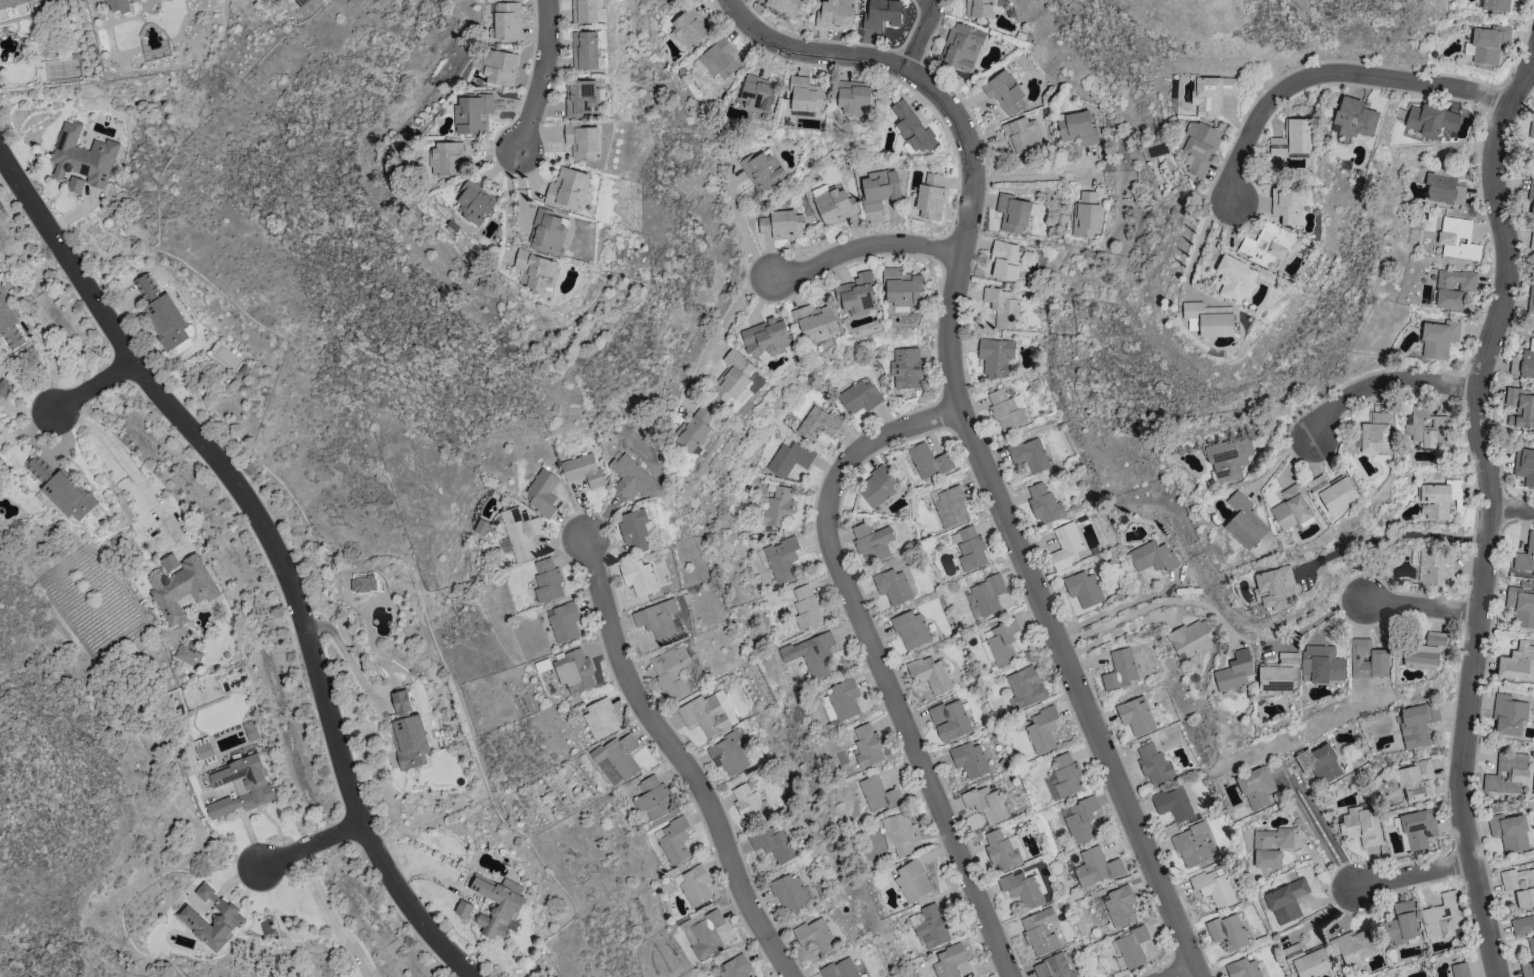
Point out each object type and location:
building: (662, 0)
building: (784, 5)
building: (1495, 5)
building: (120, 6)
building: (13, 8)
building: (977, 8)
building: (585, 11)
building: (834, 14)
building: (882, 14)
building: (508, 21)
building: (688, 28)
road: (919, 32)
building: (1489, 44)
building: (961, 46)
building: (585, 50)
building: (718, 59)
building: (501, 67)
road: (1332, 70)
road: (545, 75)
building: (757, 92)
building: (1004, 92)
building: (1211, 93)
building: (805, 94)
building: (853, 96)
building: (580, 97)
building: (474, 113)
building: (1354, 118)
building: (1429, 119)
building: (1076, 127)
building: (912, 128)
building: (1531, 129)
building: (1020, 135)
building: (582, 140)
building: (1291, 142)
building: (1200, 146)
building: (82, 156)
building: (448, 158)
building: (761, 170)
road: (1035, 171)
road: (20, 184)
building: (75, 184)
building: (568, 188)
building: (878, 189)
building: (1444, 189)
road: (510, 193)
building: (930, 197)
building: (1530, 198)
building: (476, 203)
building: (1288, 204)
building: (834, 205)
building: (1012, 212)
building: (1085, 215)
building: (782, 224)
road: (743, 229)
building: (549, 232)
building: (1457, 238)
building: (1532, 240)
road: (1200, 241)
building: (1267, 244)
road: (868, 245)
building: (1005, 260)
building: (537, 271)
road: (1506, 274)
building: (1234, 278)
building: (1453, 287)
building: (902, 288)
building: (857, 295)
building: (1531, 300)
building: (1002, 307)
building: (162, 314)
building: (1210, 318)
building: (9, 323)
building: (816, 323)
building: (1193, 324)
road: (718, 329)
building: (766, 337)
building: (1438, 338)
building: (995, 357)
building: (1524, 361)
building: (906, 368)
building: (732, 377)
road: (1383, 381)
road: (89, 385)
building: (5, 390)
building: (858, 397)
building: (1521, 406)
building: (1006, 409)
building: (817, 423)
building: (696, 427)
building: (1428, 428)
road: (973, 430)
building: (1375, 434)
building: (1029, 455)
building: (790, 458)
building: (1228, 459)
building: (928, 461)
building: (1524, 465)
road: (128, 466)
building: (582, 469)
building: (630, 477)
building: (877, 487)
building: (63, 490)
building: (1332, 491)
building: (543, 492)
building: (43, 499)
building: (1434, 501)
building: (1044, 504)
building: (950, 506)
building: (1291, 507)
building: (777, 508)
road: (1512, 509)
building: (1244, 521)
building: (635, 528)
building: (521, 532)
road: (1391, 536)
building: (872, 542)
building: (1066, 546)
building: (969, 548)
building: (1152, 556)
building: (1525, 556)
building: (781, 559)
building: (169, 562)
building: (1435, 566)
building: (639, 578)
building: (548, 581)
road: (287, 583)
building: (363, 584)
building: (893, 586)
building: (1272, 587)
building: (182, 588)
building: (1084, 589)
building: (987, 594)
road: (1151, 605)
road: (1423, 606)
building: (806, 607)
building: (1521, 607)
road: (1117, 608)
building: (658, 620)
building: (564, 621)
building: (910, 629)
road: (1113, 632)
building: (1190, 637)
building: (999, 642)
building: (1425, 651)
building: (188, 655)
building: (818, 656)
road: (347, 657)
building: (1367, 659)
road: (880, 660)
building: (1518, 663)
building: (1321, 664)
building: (1120, 669)
building: (574, 671)
building: (673, 671)
building: (1234, 671)
building: (930, 673)
building: (1279, 673)
building: (1025, 687)
building: (843, 699)
building: (708, 713)
building: (1508, 714)
building: (1136, 716)
building: (601, 719)
building: (949, 720)
building: (1417, 723)
building: (1042, 730)
building: (251, 731)
building: (408, 733)
road: (1462, 743)
building: (867, 746)
building: (204, 750)
building: (729, 753)
building: (618, 755)
road: (686, 759)
building: (969, 759)
building: (1319, 763)
building: (1154, 764)
building: (1507, 773)
building: (1066, 775)
road: (1292, 778)
building: (1415, 780)
building: (240, 785)
road: (1295, 785)
building: (1256, 787)
building: (878, 794)
building: (653, 798)
building: (749, 803)
building: (986, 803)
building: (1173, 803)
building: (1079, 819)
building: (1360, 825)
building: (1418, 828)
building: (1509, 831)
building: (900, 832)
building: (673, 840)
building: (774, 843)
road: (310, 845)
building: (1193, 845)
building: (1270, 847)
building: (1002, 851)
road: (1503, 863)
building: (1096, 867)
road: (1413, 874)
road: (1349, 878)
building: (912, 881)
building: (694, 885)
building: (1519, 885)
building: (1022, 888)
building: (1213, 888)
building: (790, 893)
building: (1286, 901)
building: (497, 906)
building: (1119, 906)
building: (463, 908)
building: (231, 917)
road: (329, 917)
building: (1442, 917)
building: (1401, 924)
building: (1522, 925)
building: (932, 927)
building: (1040, 931)
building: (1227, 931)
building: (703, 932)
building: (815, 935)
building: (1531, 945)
building: (1132, 947)
building: (1353, 947)
building: (1307, 960)
building: (949, 961)
building: (1053, 966)
building: (734, 967)
building: (1242, 968)
building: (840, 969)
building: (1460, 969)
building: (1527, 969)
road: (1184, 972)

